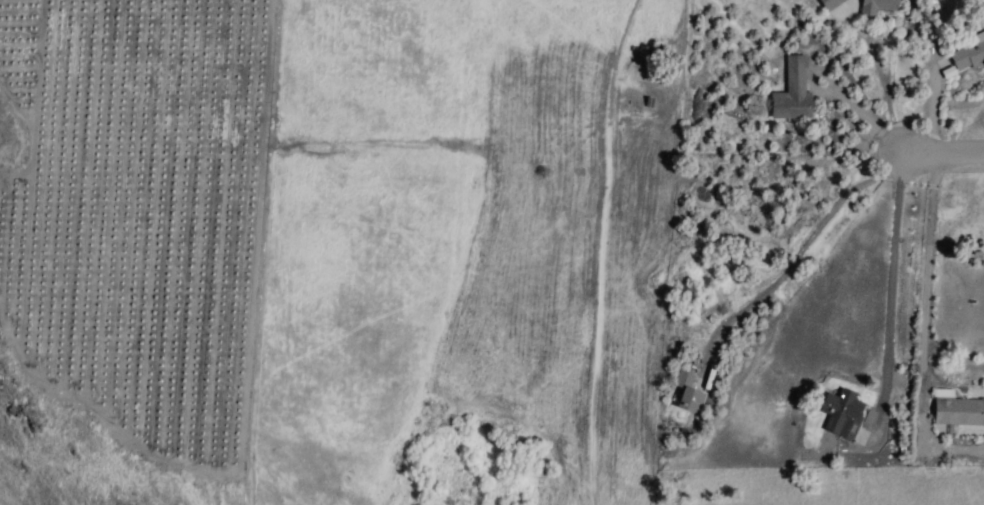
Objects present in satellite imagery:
building: (830, 4)
building: (967, 54)
building: (792, 94)
road: (886, 95)
road: (933, 109)
road: (863, 114)
road: (944, 154)
crop: (138, 215)
road: (800, 240)
road: (926, 283)
road: (890, 290)
building: (686, 393)
building: (842, 411)
building: (958, 412)

